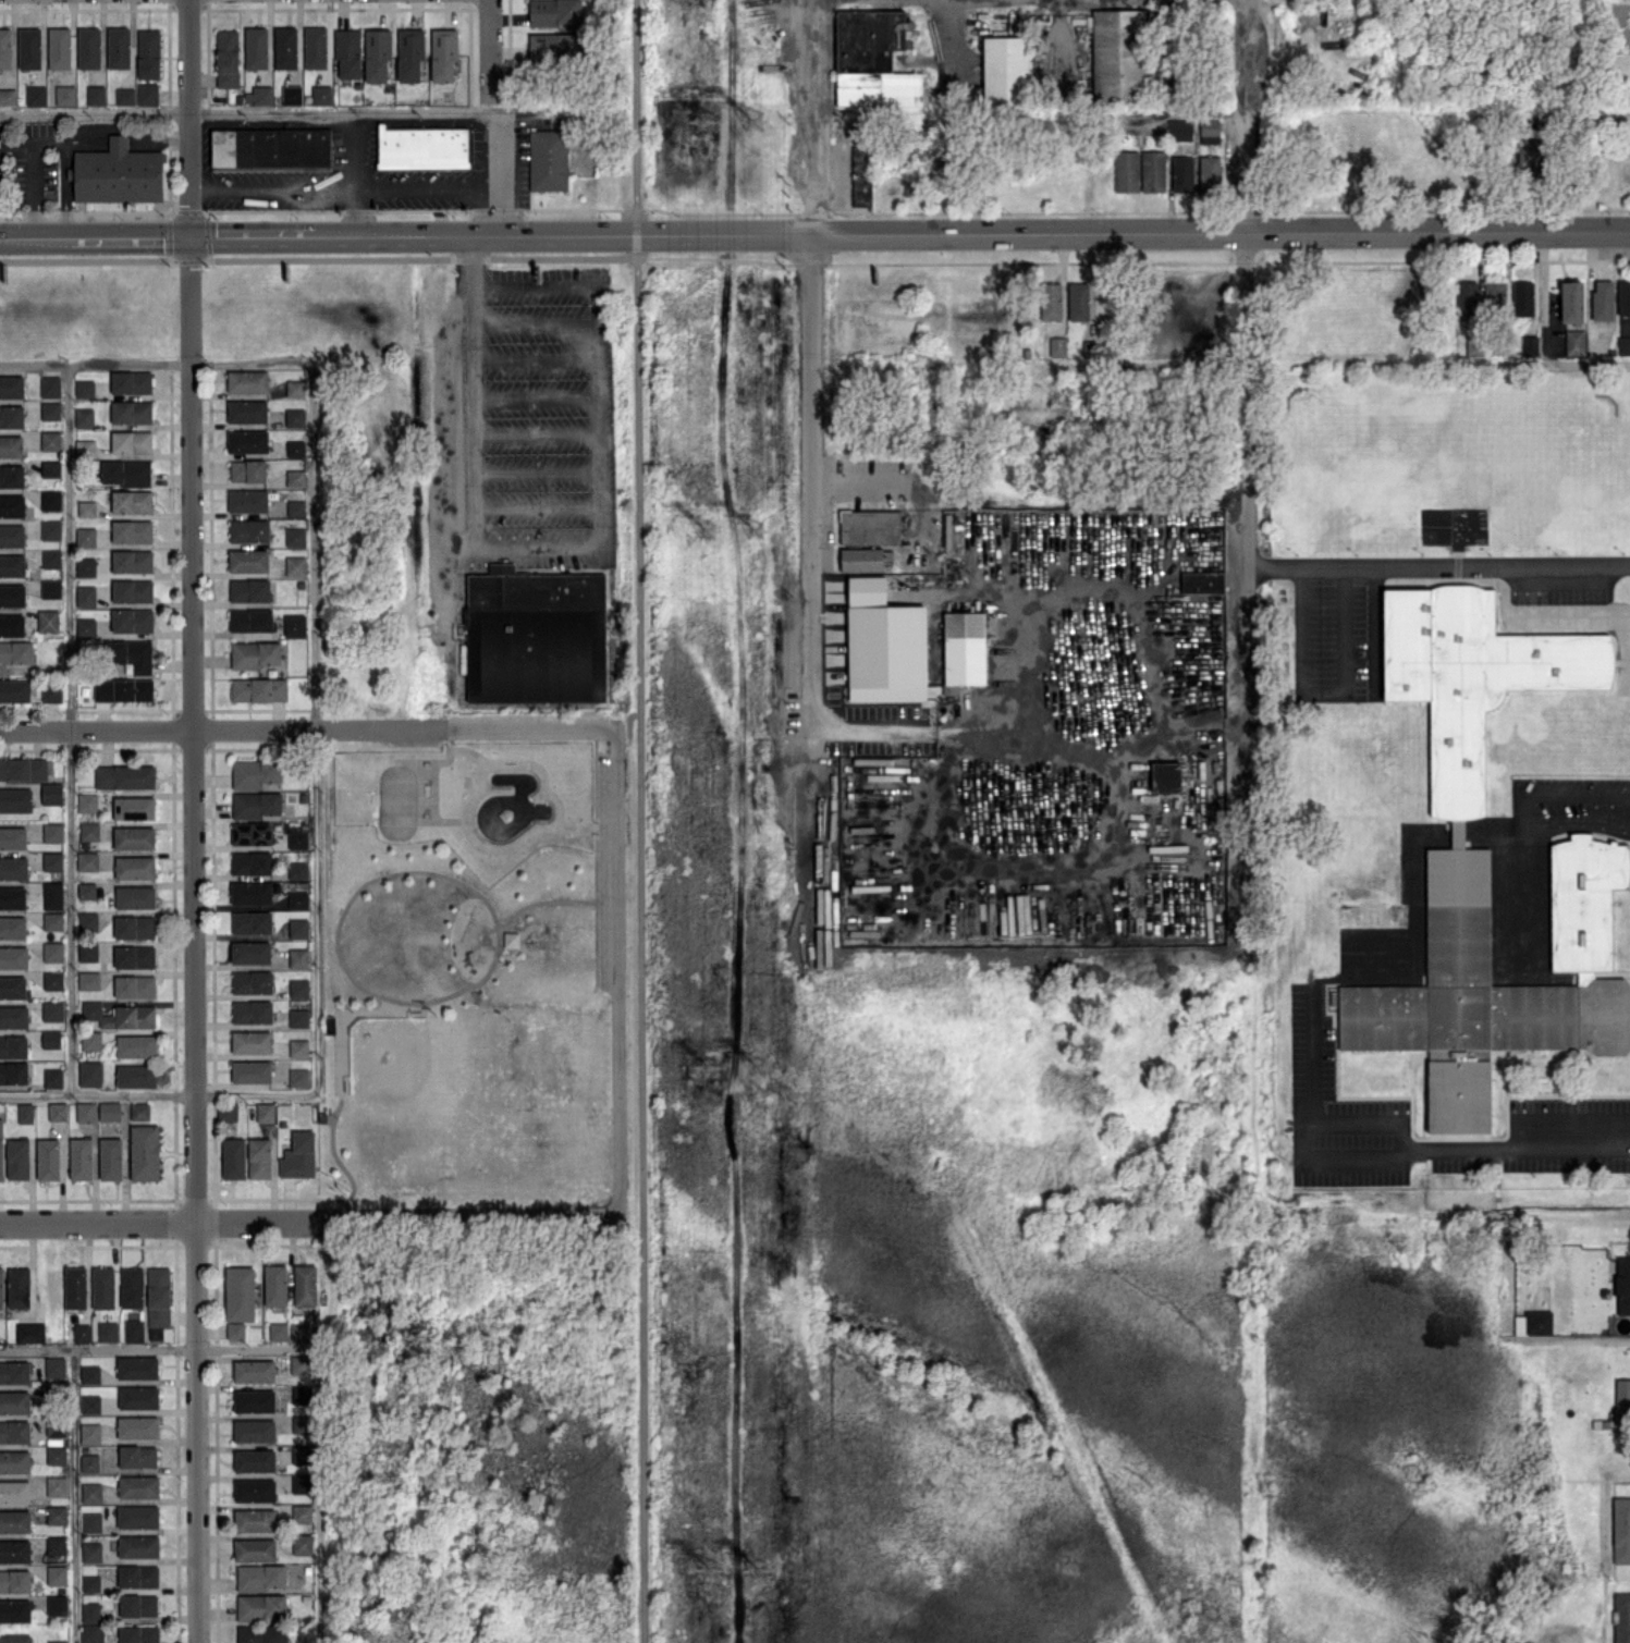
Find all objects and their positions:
building: (555, 12)
road: (1061, 30)
road: (951, 36)
building: (553, 45)
building: (29, 47)
building: (59, 47)
building: (89, 47)
building: (119, 47)
building: (256, 47)
building: (285, 47)
building: (316, 47)
road: (491, 47)
building: (4, 48)
building: (347, 51)
building: (148, 53)
building: (377, 53)
building: (410, 53)
building: (443, 53)
building: (1118, 54)
building: (226, 57)
building: (873, 59)
road: (733, 66)
building: (1005, 70)
building: (147, 93)
building: (96, 94)
building: (292, 94)
building: (321, 94)
building: (36, 95)
building: (65, 95)
building: (125, 95)
building: (261, 95)
building: (8, 96)
road: (638, 106)
road: (249, 110)
power tower: (757, 120)
power tower: (703, 125)
building: (1179, 130)
building: (1209, 131)
road: (79, 140)
road: (50, 143)
building: (422, 147)
building: (271, 148)
building: (548, 159)
building: (1530, 160)
building: (1126, 171)
building: (1152, 171)
road: (35, 173)
building: (117, 173)
road: (499, 173)
building: (1181, 173)
building: (1209, 174)
building: (861, 175)
road: (389, 185)
road: (298, 186)
road: (638, 223)
road: (1133, 233)
traffic signals: (189, 237)
road: (319, 237)
road: (638, 246)
road: (535, 283)
building: (1494, 295)
building: (1521, 297)
building: (1623, 297)
building: (1467, 298)
building: (1047, 299)
building: (1602, 299)
building: (1079, 301)
road: (535, 322)
road: (1543, 336)
building: (1574, 342)
building: (1057, 345)
building: (1623, 345)
road: (535, 359)
road: (156, 360)
road: (1245, 360)
building: (247, 380)
building: (131, 381)
building: (11, 385)
building: (50, 385)
building: (84, 388)
building: (295, 388)
road: (535, 397)
road: (814, 404)
building: (50, 410)
building: (131, 410)
building: (247, 410)
road: (598, 415)
building: (11, 416)
building: (84, 416)
building: (295, 417)
road: (536, 433)
building: (50, 440)
building: (247, 440)
building: (131, 441)
building: (11, 445)
building: (85, 447)
building: (295, 447)
road: (474, 454)
building: (50, 467)
building: (247, 469)
building: (126, 471)
road: (536, 471)
building: (11, 475)
building: (295, 477)
building: (50, 499)
building: (247, 500)
building: (132, 501)
building: (12, 505)
building: (86, 507)
building: (295, 507)
road: (536, 508)
building: (870, 526)
building: (50, 529)
building: (248, 529)
building: (132, 530)
power tower: (706, 532)
power tower: (759, 532)
building: (12, 535)
building: (295, 536)
building: (85, 537)
building: (51, 557)
building: (861, 559)
building: (248, 560)
building: (132, 561)
road: (1437, 563)
building: (12, 565)
building: (295, 565)
building: (85, 566)
building: (1201, 581)
building: (51, 588)
building: (249, 589)
building: (132, 590)
building: (12, 594)
building: (85, 594)
building: (250, 618)
building: (48, 620)
building: (132, 620)
building: (294, 624)
building: (11, 625)
building: (85, 626)
road: (1373, 626)
building: (531, 635)
building: (887, 645)
building: (965, 649)
building: (15, 653)
building: (255, 653)
building: (259, 688)
building: (14, 689)
building: (123, 689)
road: (1323, 689)
building: (51, 691)
road: (70, 725)
road: (314, 725)
road: (464, 727)
road: (1032, 727)
road: (157, 728)
building: (23, 768)
building: (255, 772)
building: (124, 775)
building: (1165, 776)
building: (51, 793)
road: (1592, 794)
building: (15, 799)
building: (87, 801)
building: (257, 804)
building: (133, 807)
road: (193, 821)
building: (88, 830)
building: (52, 832)
building: (252, 832)
building: (134, 836)
building: (12, 837)
building: (297, 838)
building: (1486, 849)
building: (52, 860)
building: (87, 860)
building: (250, 862)
building: (13, 867)
building: (134, 867)
building: (297, 869)
building: (86, 890)
building: (250, 892)
building: (52, 895)
building: (135, 896)
building: (12, 897)
building: (297, 899)
building: (52, 920)
building: (87, 921)
building: (252, 922)
building: (12, 927)
building: (134, 927)
building: (298, 928)
building: (511, 939)
road: (641, 949)
building: (52, 951)
building: (87, 951)
building: (250, 952)
building: (13, 956)
building: (134, 956)
building: (298, 957)
road: (614, 970)
park: (459, 971)
building: (52, 980)
building: (88, 980)
building: (252, 981)
building: (135, 985)
building: (12, 986)
building: (298, 988)
building: (52, 1010)
building: (252, 1011)
building: (120, 1015)
building: (13, 1016)
building: (298, 1017)
building: (50, 1039)
building: (90, 1040)
building: (250, 1041)
building: (135, 1045)
building: (13, 1046)
building: (298, 1047)
road: (1311, 1052)
power tower: (708, 1063)
power tower: (761, 1069)
building: (250, 1070)
building: (13, 1071)
building: (89, 1072)
building: (136, 1075)
building: (52, 1077)
building: (298, 1077)
road: (157, 1091)
building: (109, 1109)
building: (57, 1111)
building: (86, 1111)
building: (139, 1111)
building: (25, 1112)
building: (228, 1112)
building: (265, 1112)
road: (1357, 1120)
road: (1516, 1143)
building: (1, 1149)
building: (144, 1151)
building: (298, 1154)
building: (17, 1157)
building: (81, 1157)
building: (110, 1157)
building: (233, 1157)
building: (259, 1157)
building: (48, 1158)
road: (1349, 1161)
road: (467, 1214)
road: (160, 1223)
building: (275, 1284)
building: (304, 1284)
building: (1622, 1285)
building: (19, 1286)
building: (102, 1286)
building: (1, 1287)
building: (75, 1287)
building: (132, 1287)
building: (240, 1293)
building: (158, 1296)
building: (1533, 1322)
building: (134, 1329)
building: (235, 1329)
building: (108, 1331)
building: (278, 1331)
building: (298, 1331)
building: (29, 1332)
building: (81, 1332)
road: (159, 1346)
building: (299, 1364)
building: (54, 1365)
building: (137, 1366)
building: (254, 1370)
building: (14, 1371)
building: (89, 1373)
building: (1621, 1391)
building: (138, 1396)
building: (254, 1400)
building: (14, 1401)
building: (89, 1402)
building: (301, 1423)
building: (137, 1426)
building: (56, 1429)
building: (254, 1430)
building: (14, 1431)
building: (89, 1432)
building: (56, 1455)
building: (137, 1456)
building: (14, 1460)
building: (254, 1460)
building: (89, 1462)
building: (301, 1483)
building: (56, 1485)
building: (138, 1486)
building: (254, 1489)
building: (14, 1491)
building: (91, 1492)
road: (320, 1494)
road: (73, 1495)
building: (302, 1512)
building: (57, 1513)
building: (137, 1516)
building: (255, 1519)
building: (14, 1520)
building: (91, 1521)
building: (1620, 1530)
building: (56, 1544)
building: (302, 1544)
building: (138, 1545)
building: (255, 1549)
building: (14, 1550)
building: (91, 1552)
power tower: (710, 1570)
power tower: (764, 1571)
building: (57, 1573)
building: (137, 1575)
building: (260, 1577)
building: (14, 1580)
building: (90, 1582)
building: (137, 1604)
building: (57, 1605)
building: (260, 1606)
building: (15, 1610)
building: (90, 1610)
building: (1620, 1617)
building: (91, 1633)
building: (262, 1633)
building: (138, 1634)
building: (15, 1639)
building: (57, 1641)

